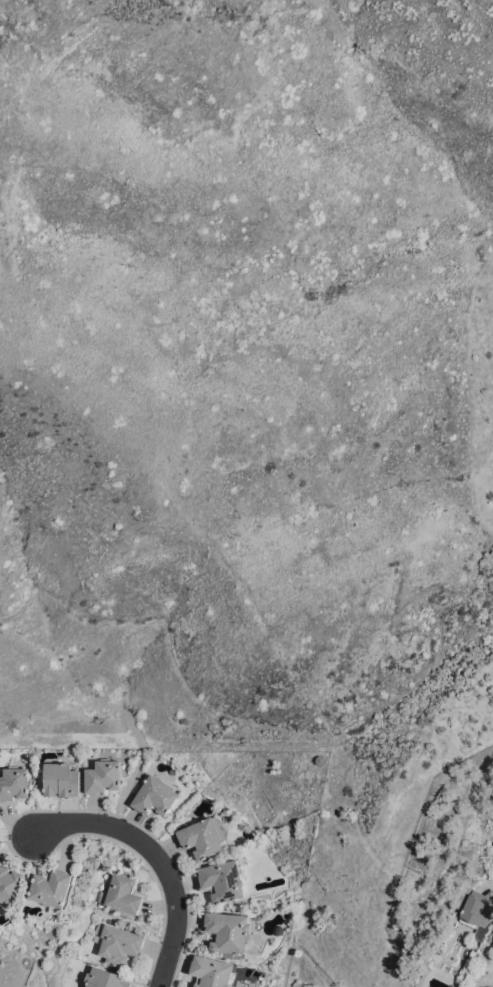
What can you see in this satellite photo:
building: (320, 758)
building: (103, 776)
building: (61, 779)
building: (14, 783)
building: (155, 795)
building: (203, 837)
building: (492, 844)
road: (152, 853)
building: (106, 860)
building: (224, 879)
building: (10, 883)
building: (51, 888)
building: (122, 893)
building: (476, 912)
building: (228, 931)
building: (116, 943)
building: (492, 943)
building: (212, 971)
building: (104, 978)
building: (454, 985)

